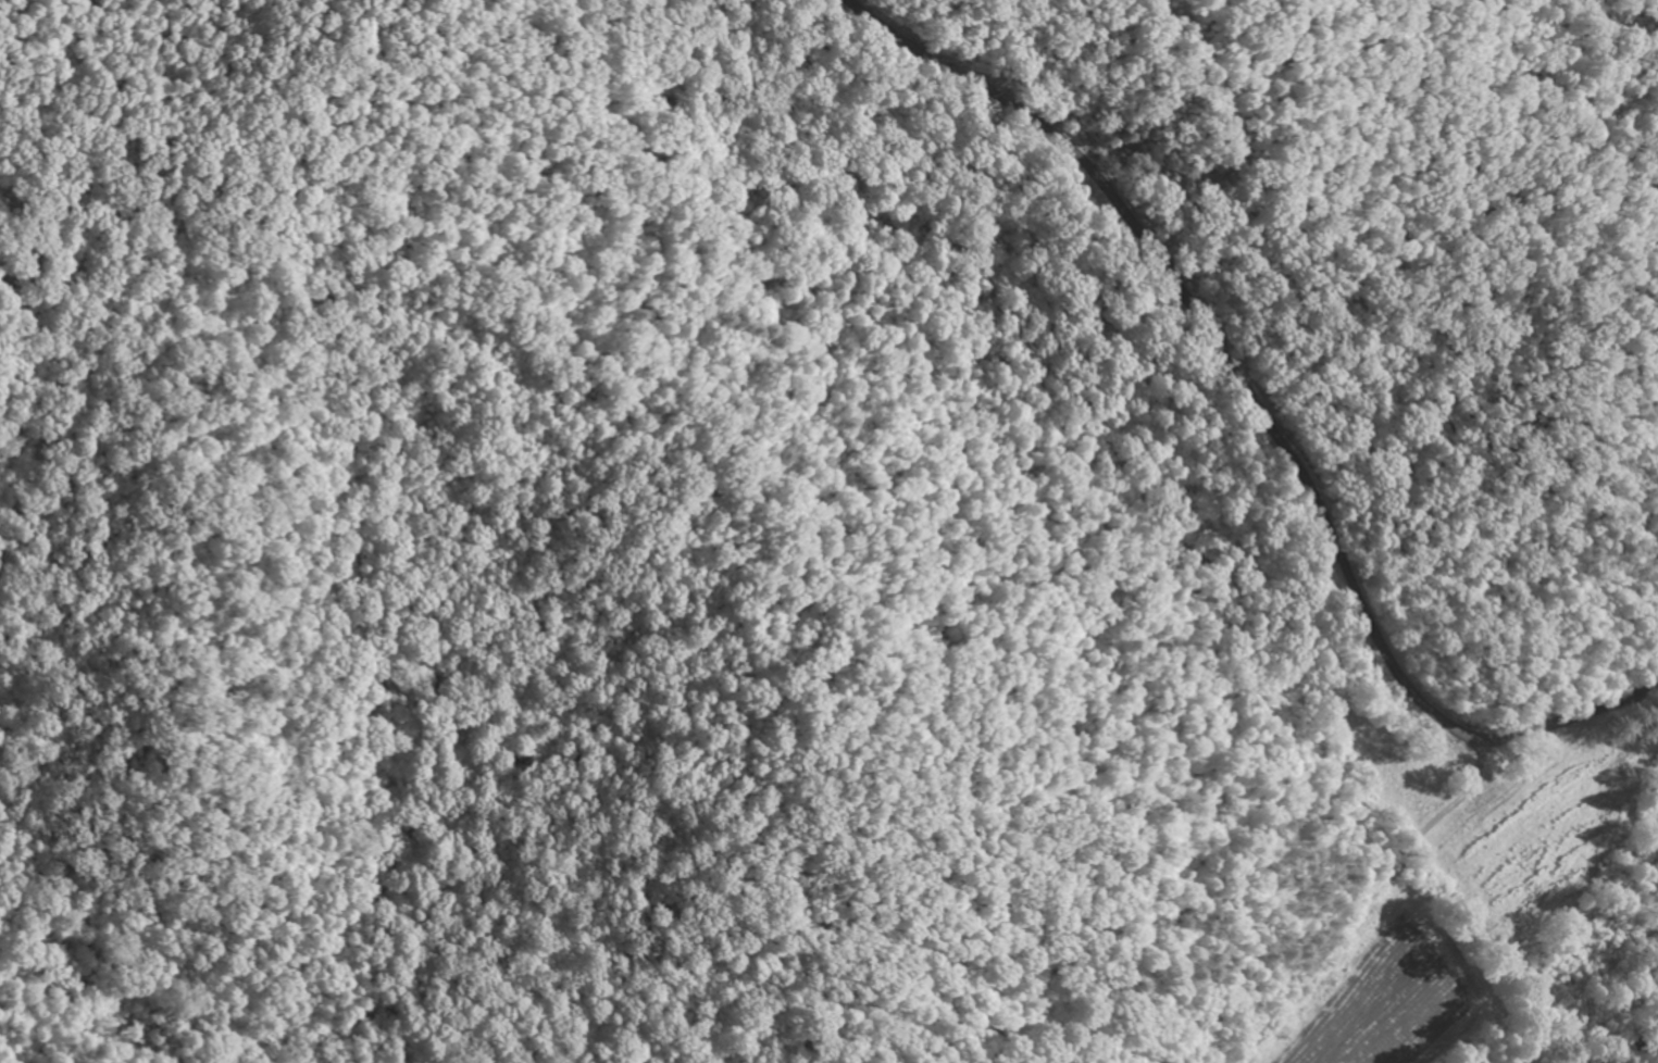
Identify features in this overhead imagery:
road: (1259, 412)
park: (786, 500)

